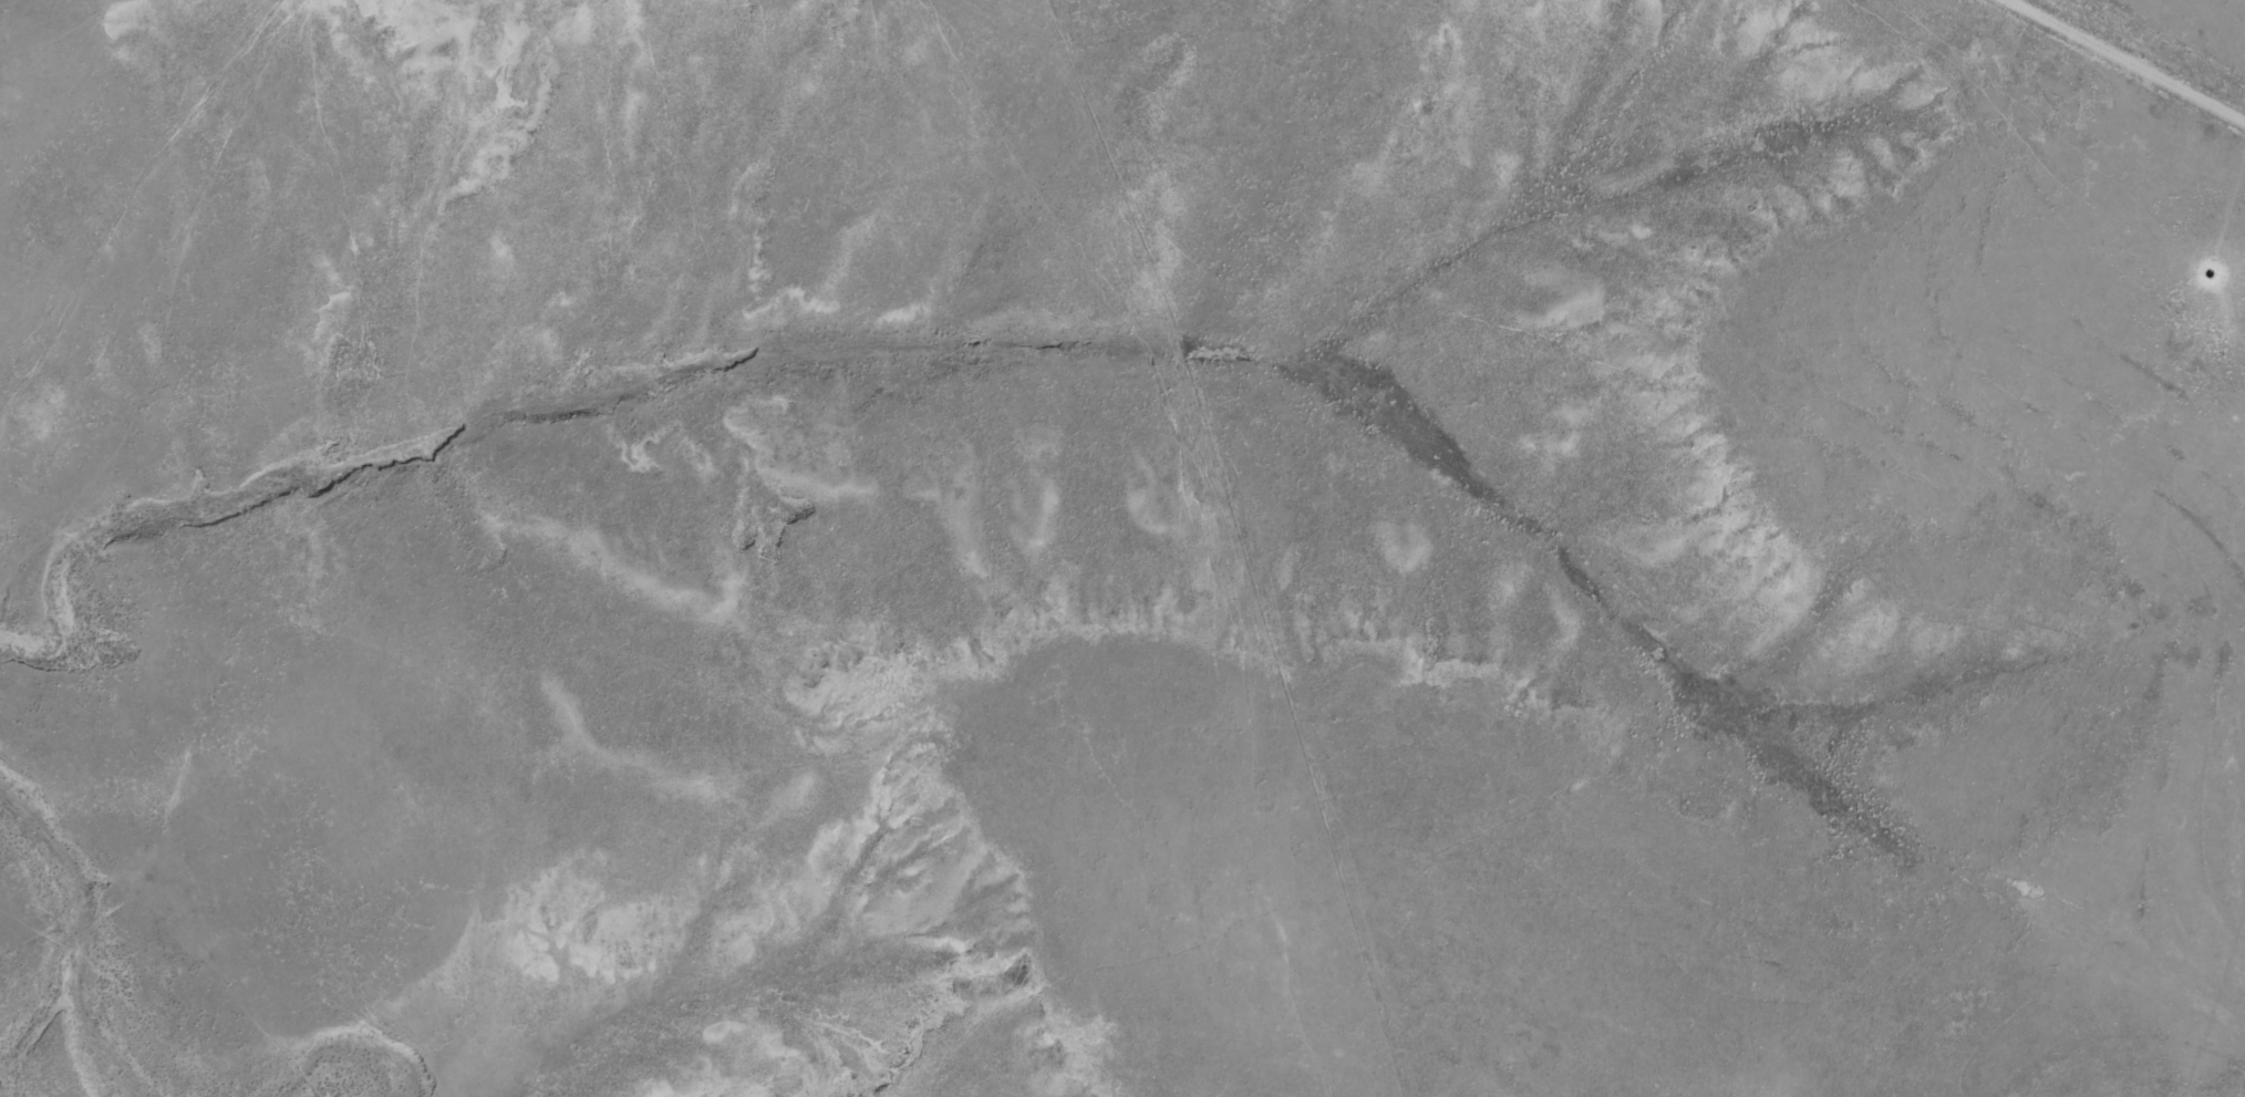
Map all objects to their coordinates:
road: (2127, 59)

